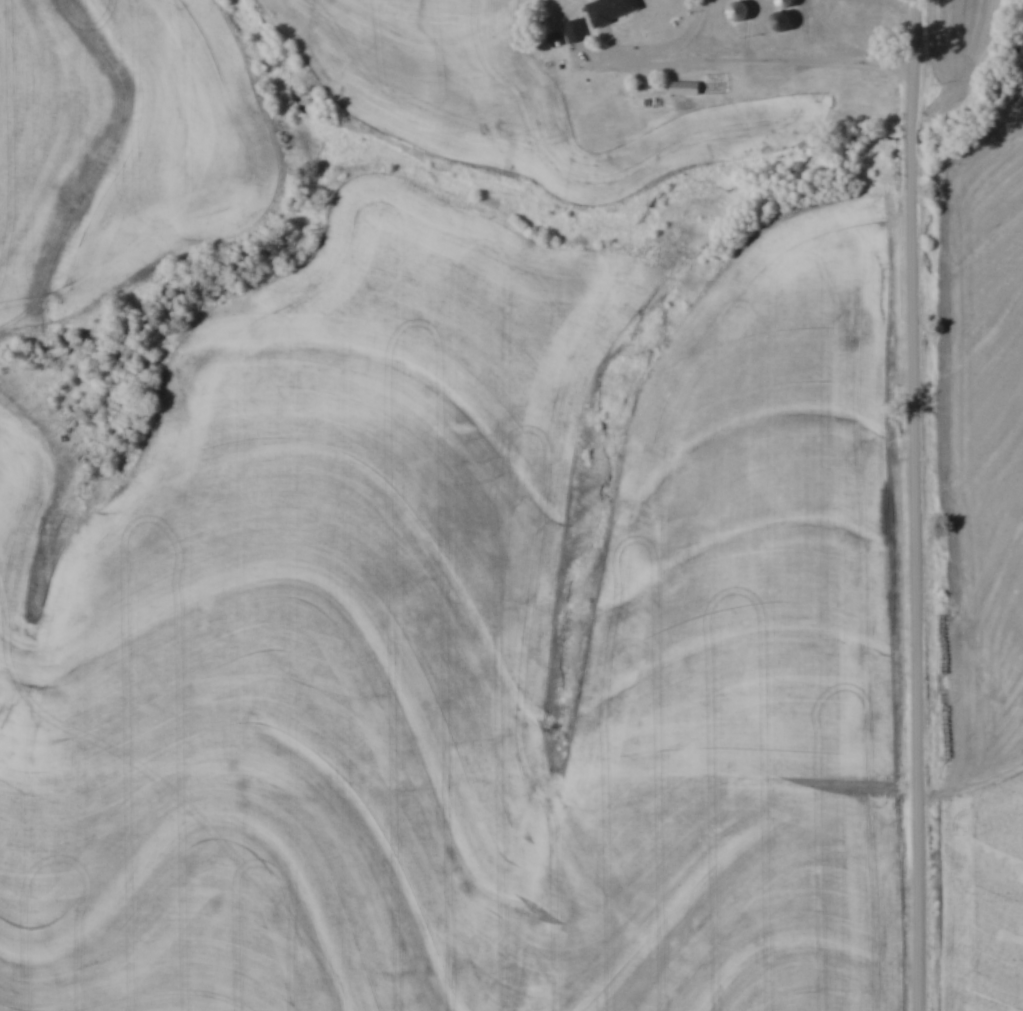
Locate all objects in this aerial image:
building: (612, 10)
building: (741, 12)
building: (576, 30)
road: (673, 51)
road: (786, 61)
building: (688, 87)
road: (919, 505)

